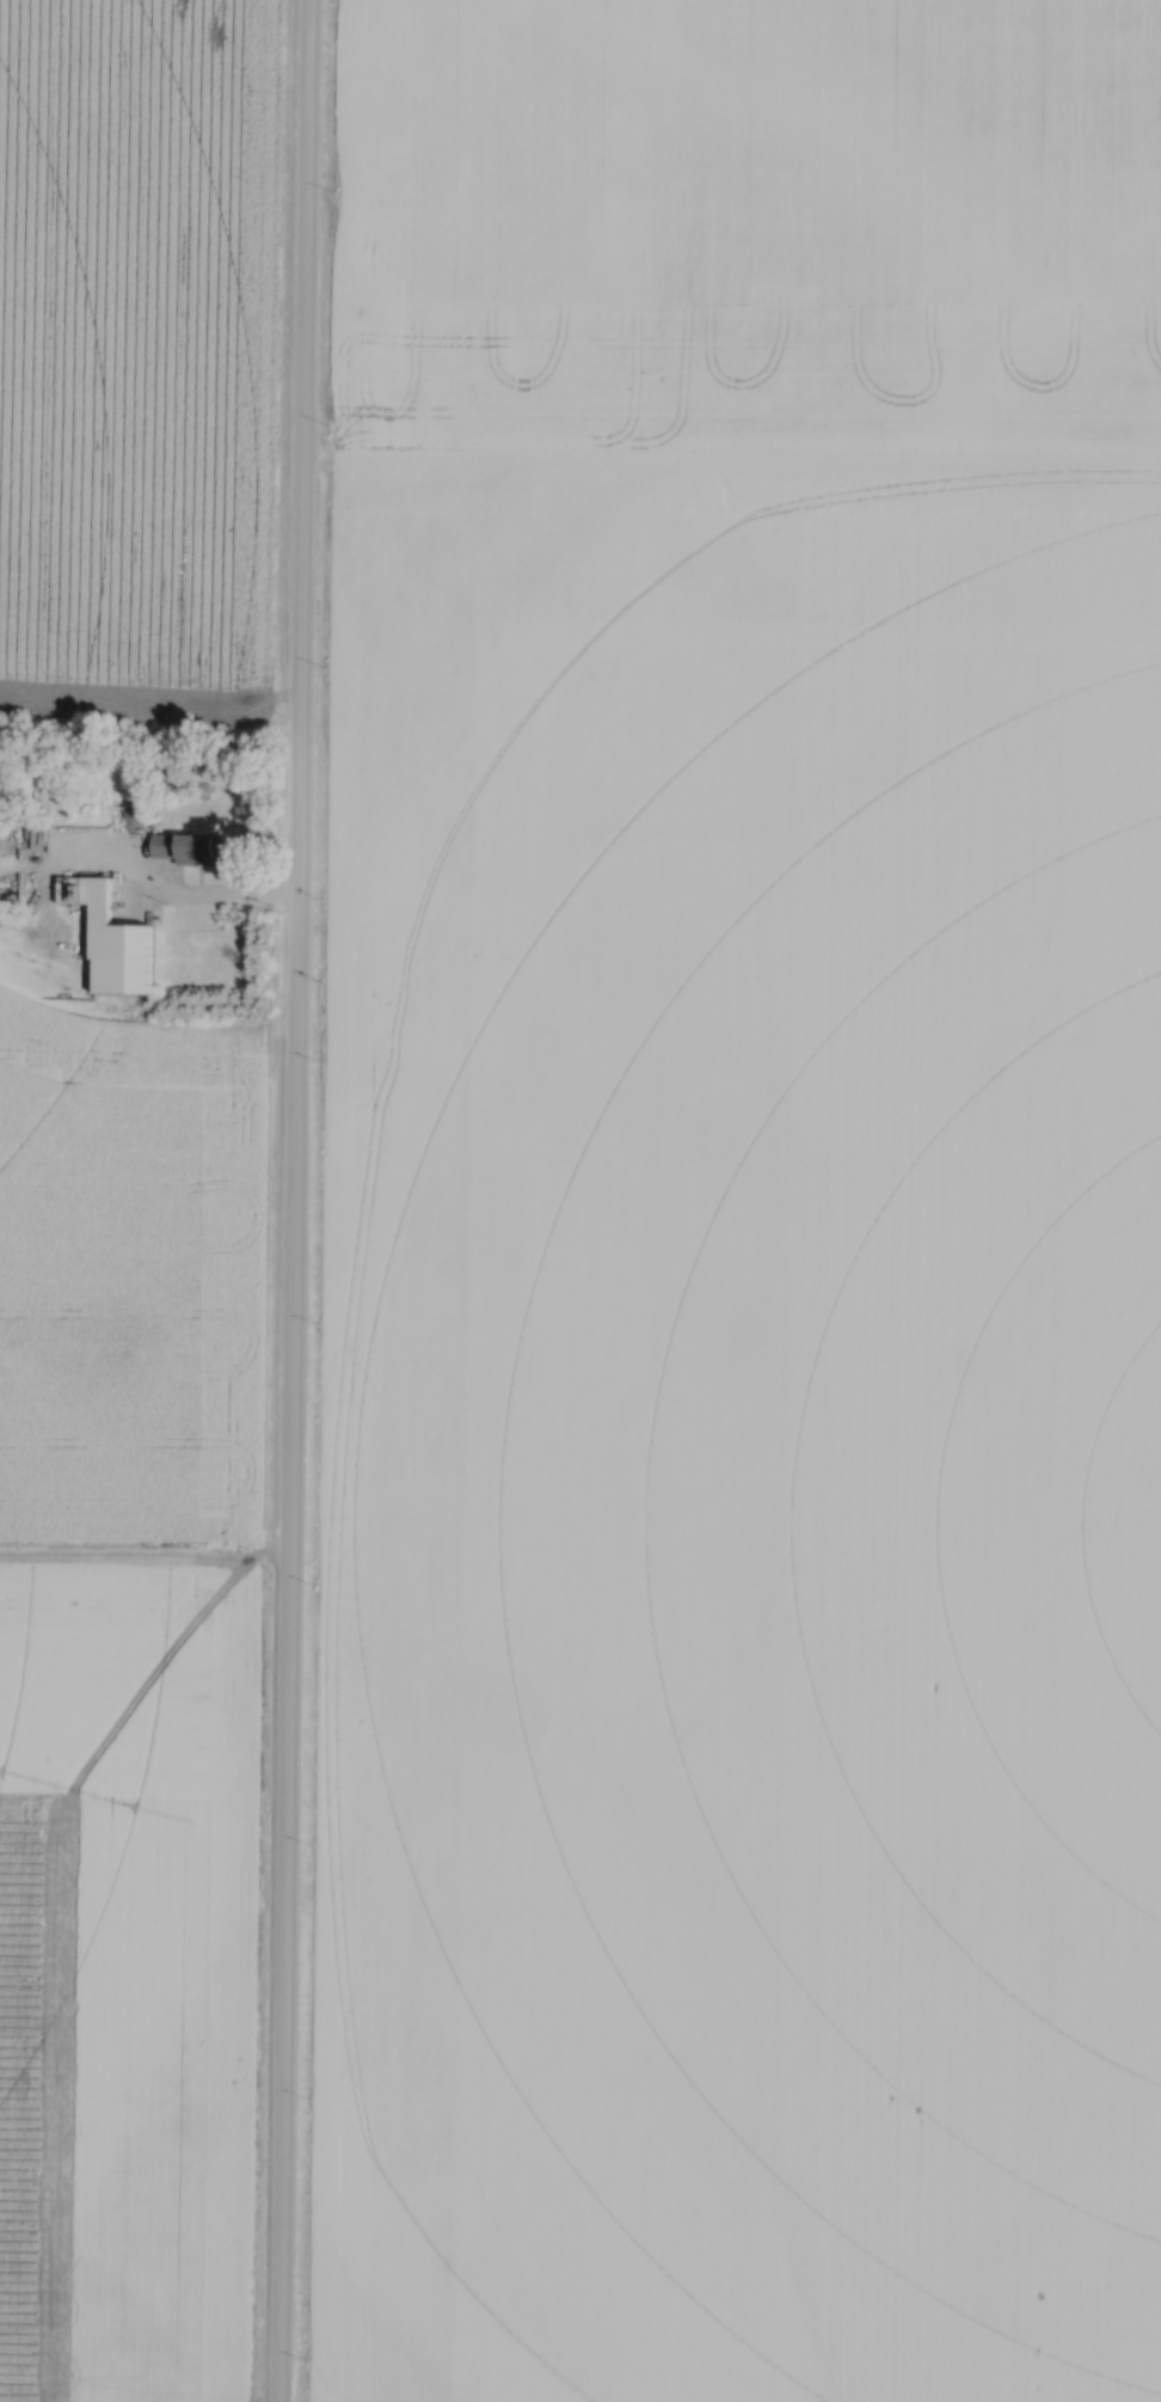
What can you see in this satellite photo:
building: (190, 851)
road: (219, 897)
building: (116, 946)
road: (293, 1200)
road: (295, 2358)

